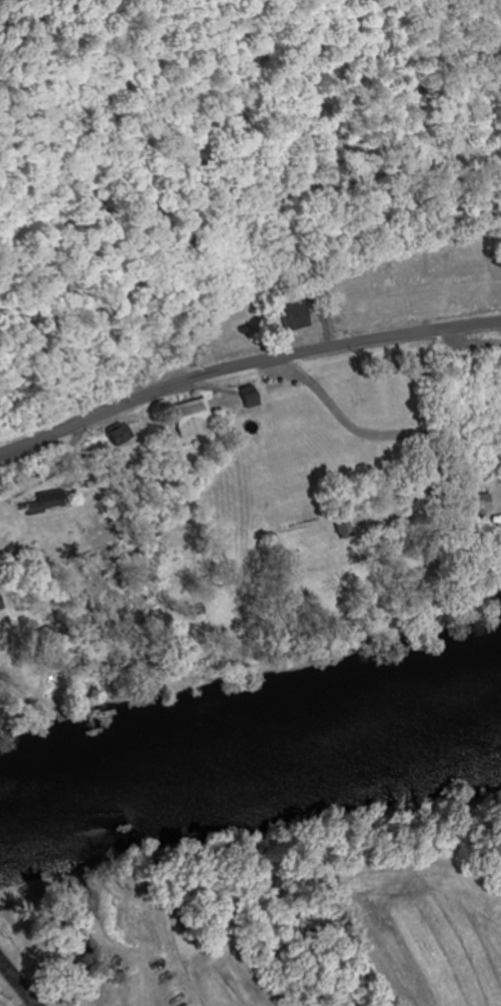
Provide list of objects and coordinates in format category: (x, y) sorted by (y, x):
building: (300, 316)
road: (243, 362)
building: (254, 397)
building: (197, 419)
road: (350, 420)
building: (125, 434)
building: (487, 502)
building: (351, 528)
building: (2, 602)
road: (24, 978)

